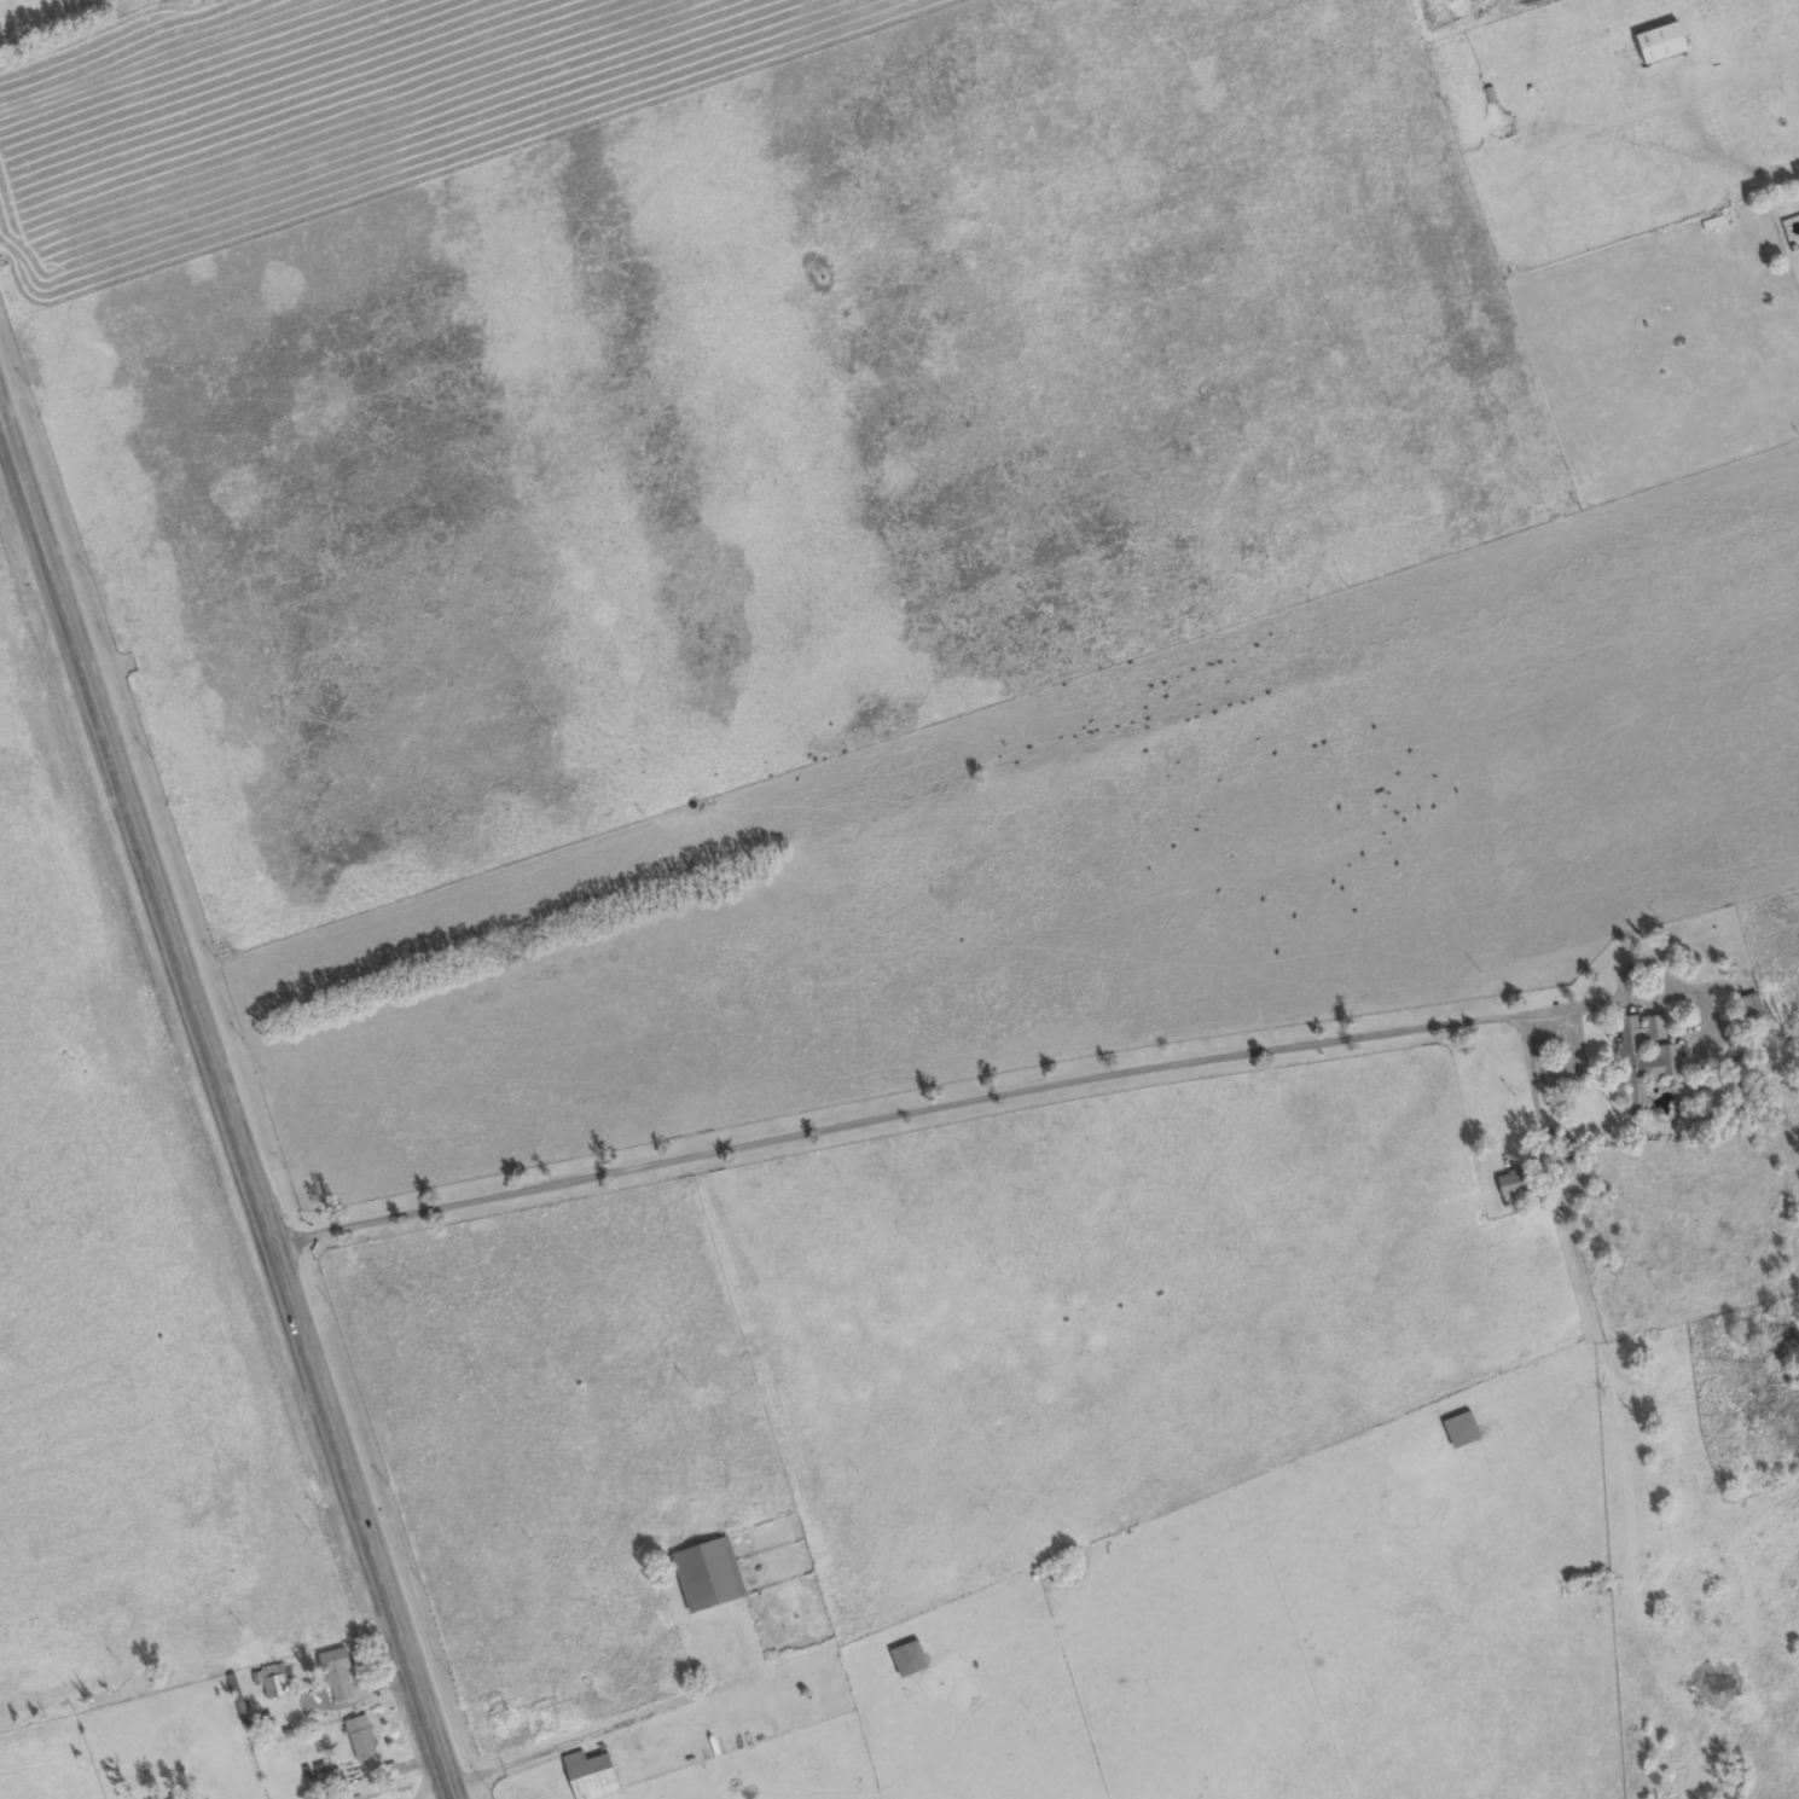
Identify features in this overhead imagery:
building: (1661, 43)
building: (1748, 1004)
building: (1646, 1057)
road: (225, 1109)
road: (1556, 1148)
building: (1516, 1185)
building: (1462, 1431)
building: (709, 1574)
building: (909, 1659)
building: (338, 1676)
building: (362, 1739)
building: (327, 1771)
building: (591, 1776)

